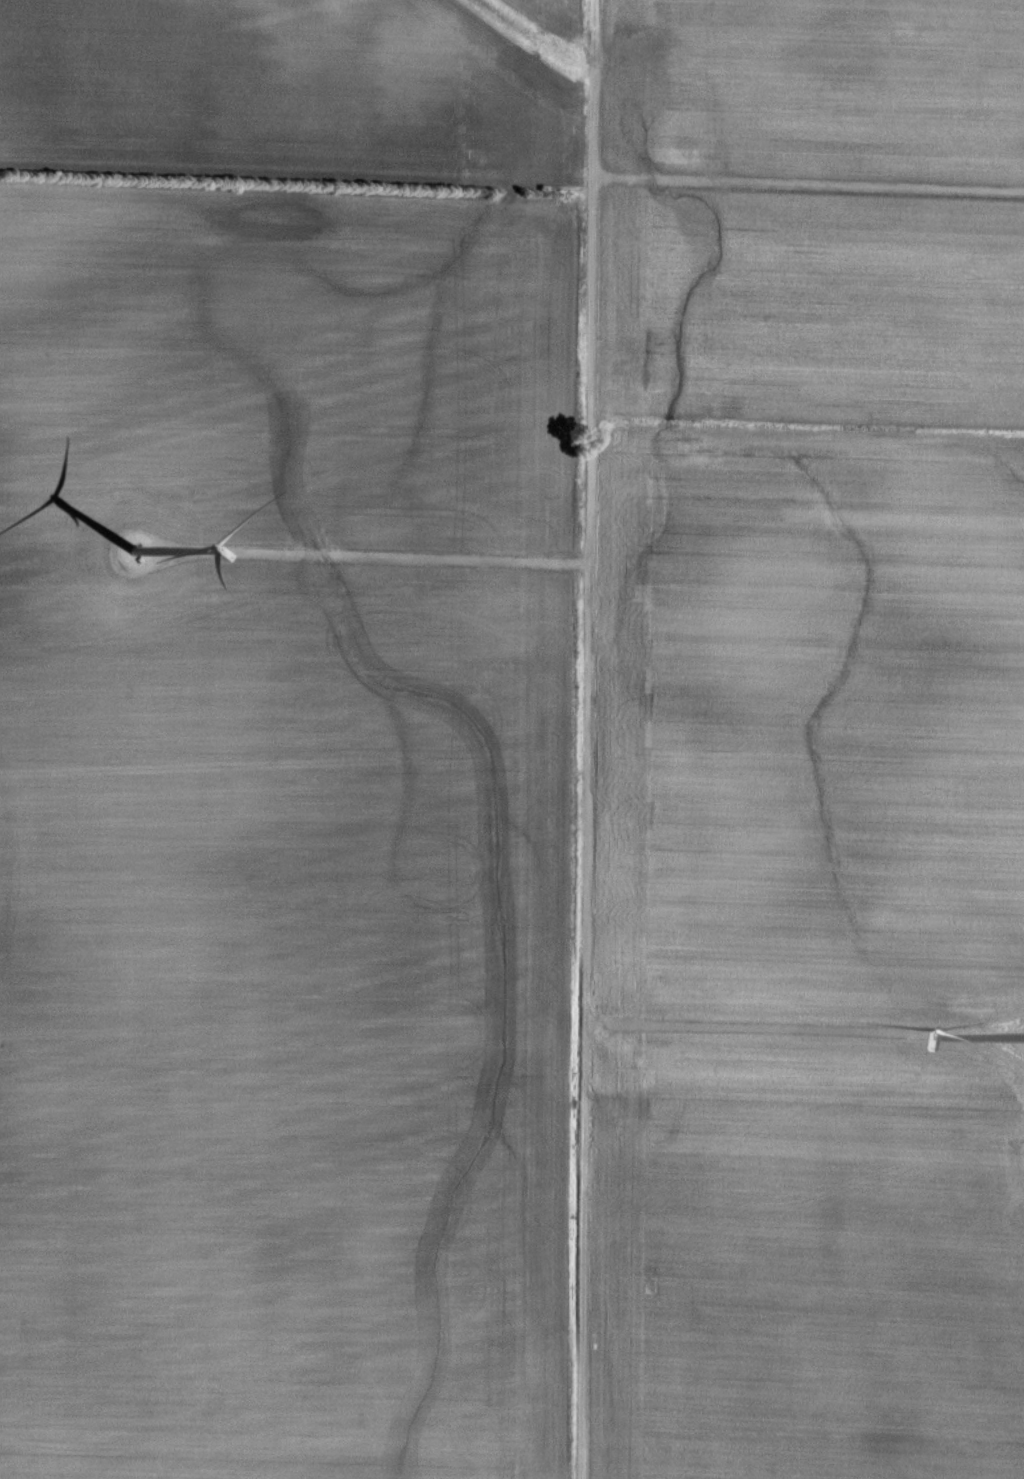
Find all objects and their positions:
road: (811, 188)
wind turbine: (134, 552)
road: (374, 558)
road: (589, 739)
road: (804, 1030)

